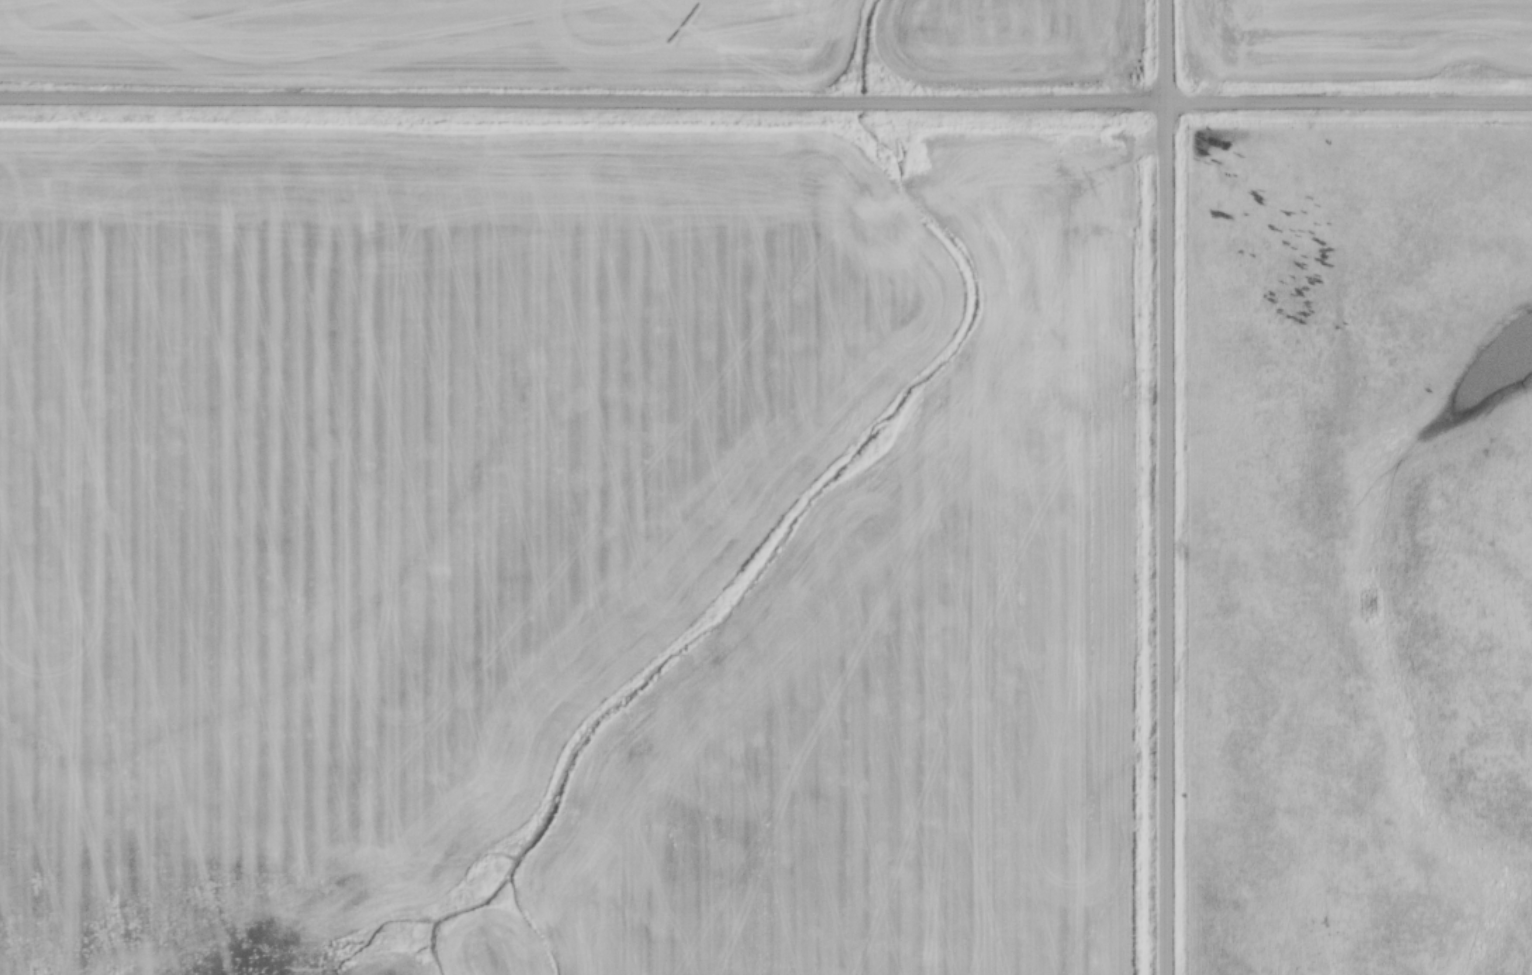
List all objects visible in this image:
road: (765, 102)
road: (1159, 487)

